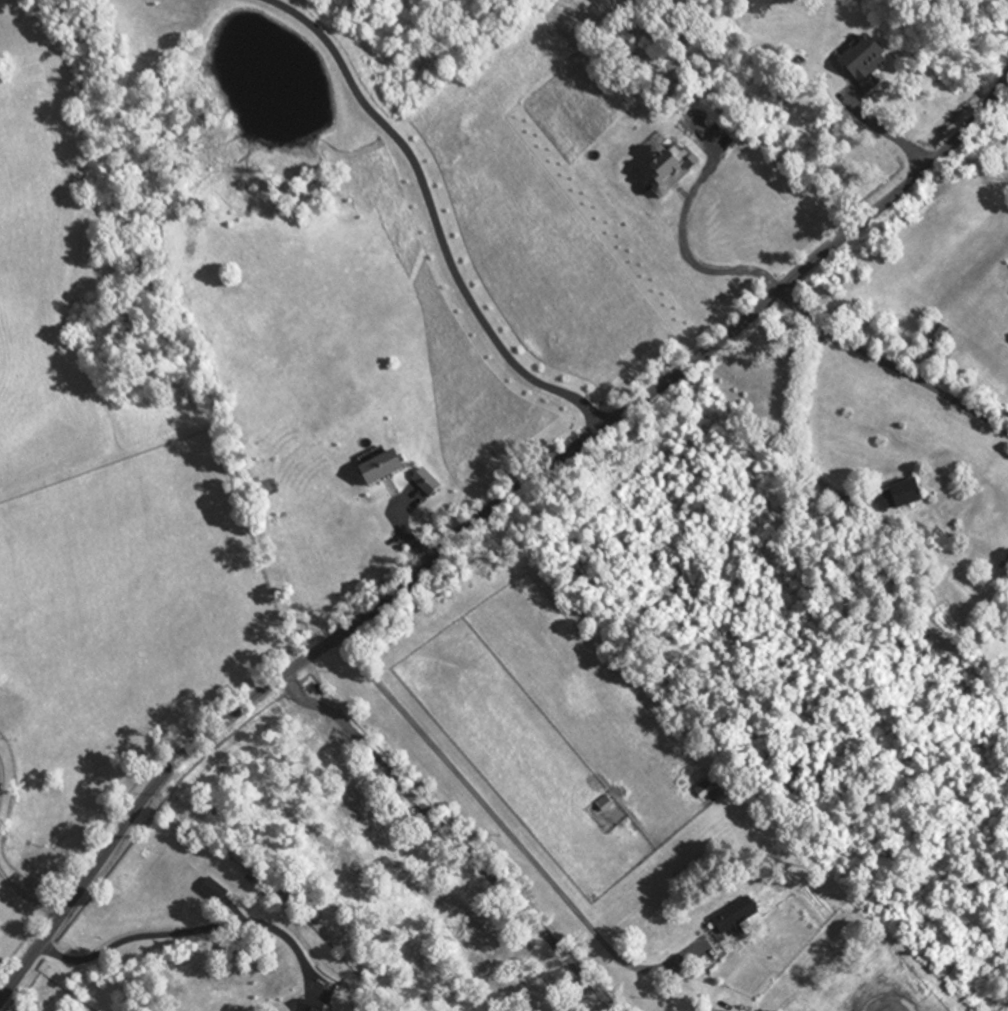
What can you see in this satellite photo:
building: (863, 64)
road: (887, 133)
road: (434, 216)
road: (709, 267)
building: (936, 336)
road: (892, 367)
road: (802, 421)
building: (898, 499)
road: (482, 513)
building: (702, 786)
road: (507, 828)
road: (27, 897)
building: (736, 915)
road: (191, 931)

